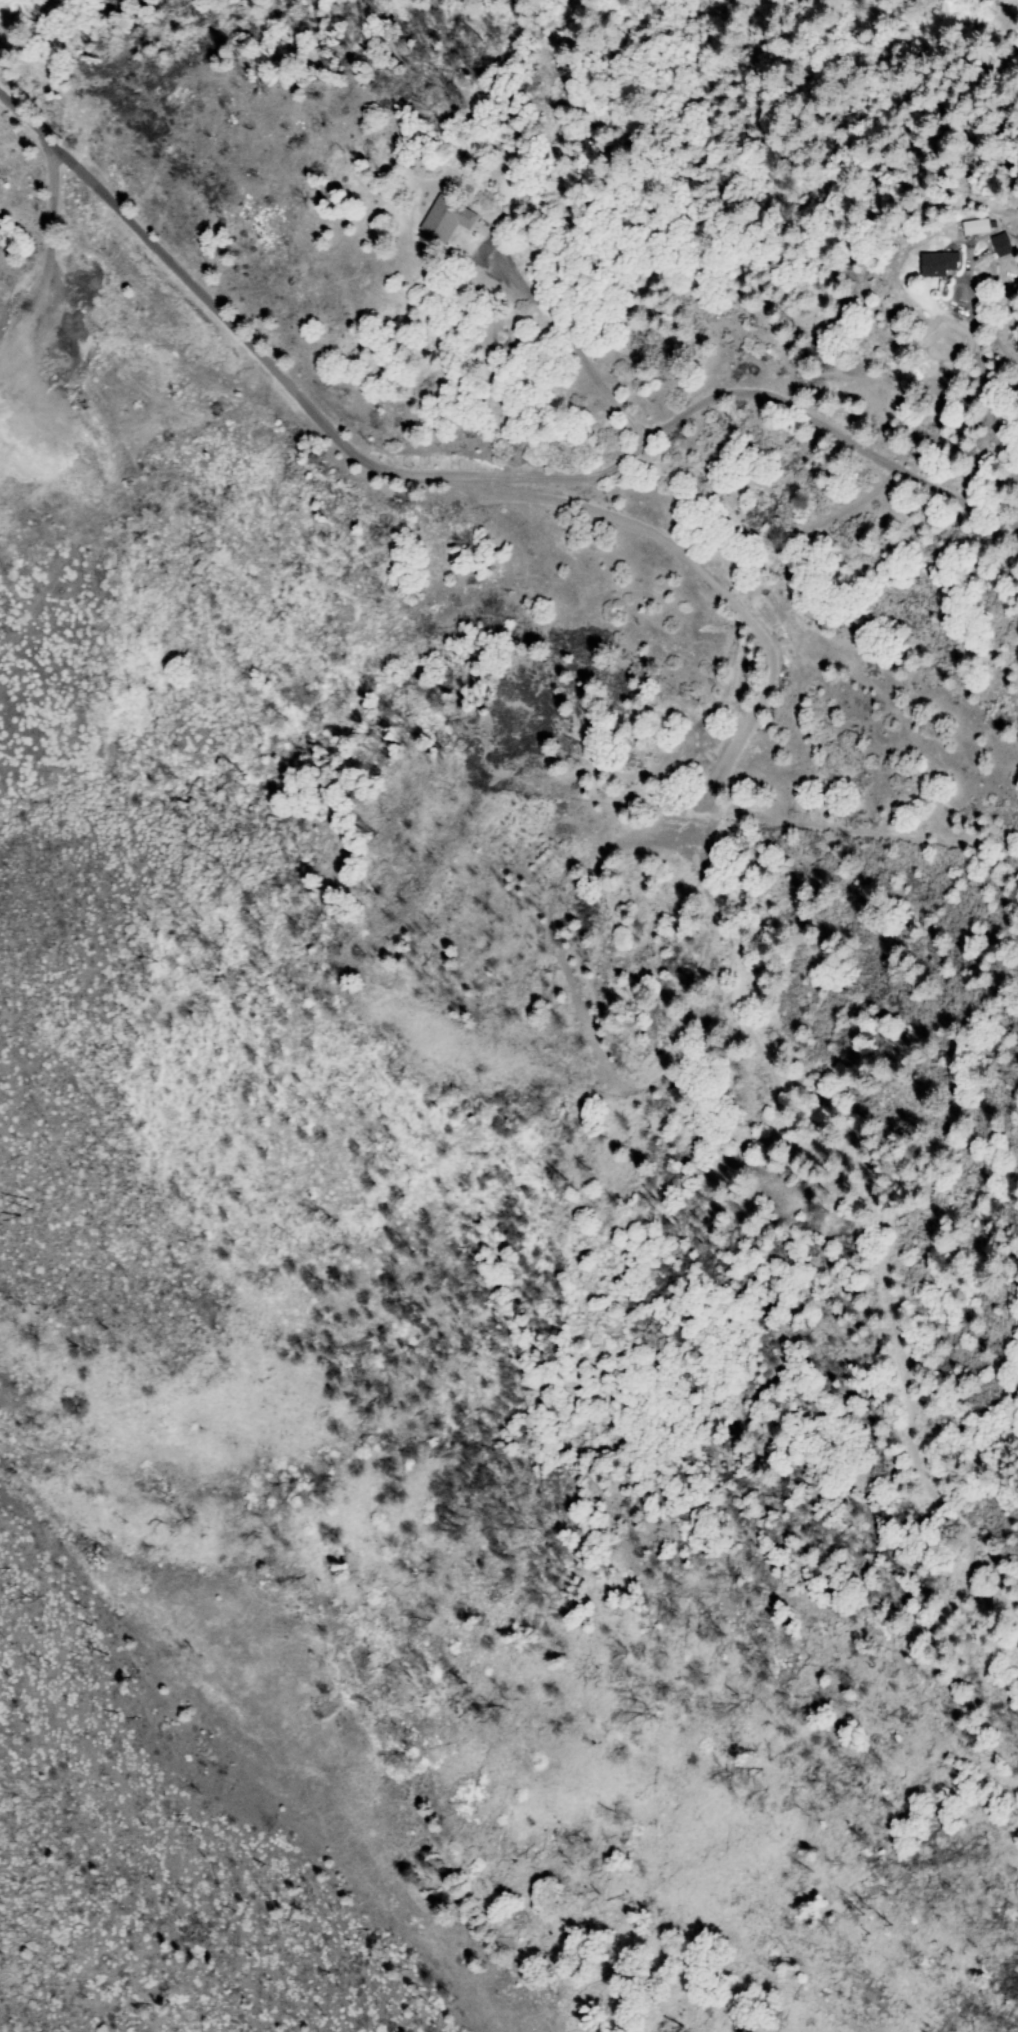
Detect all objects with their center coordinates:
building: (443, 219)
building: (973, 226)
building: (998, 244)
building: (935, 263)
road: (763, 703)
road: (629, 1914)

